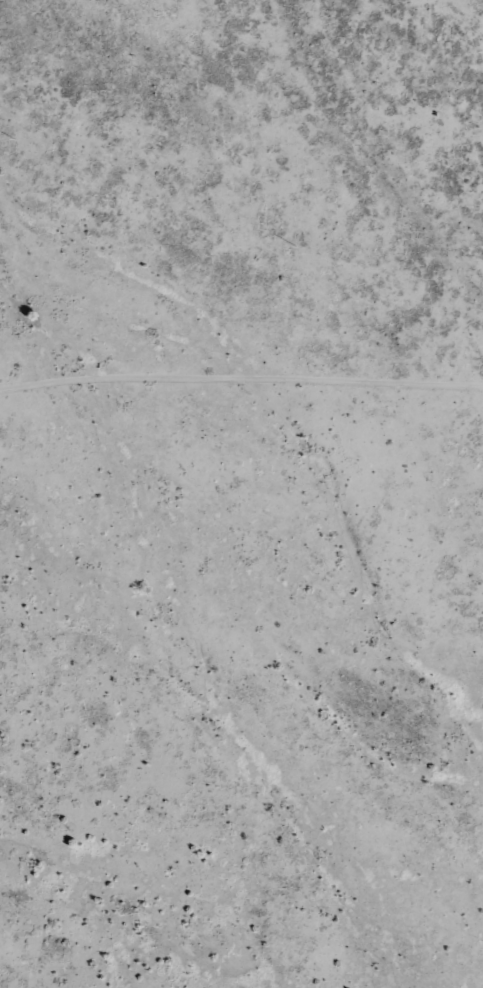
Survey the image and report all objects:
road: (241, 415)

